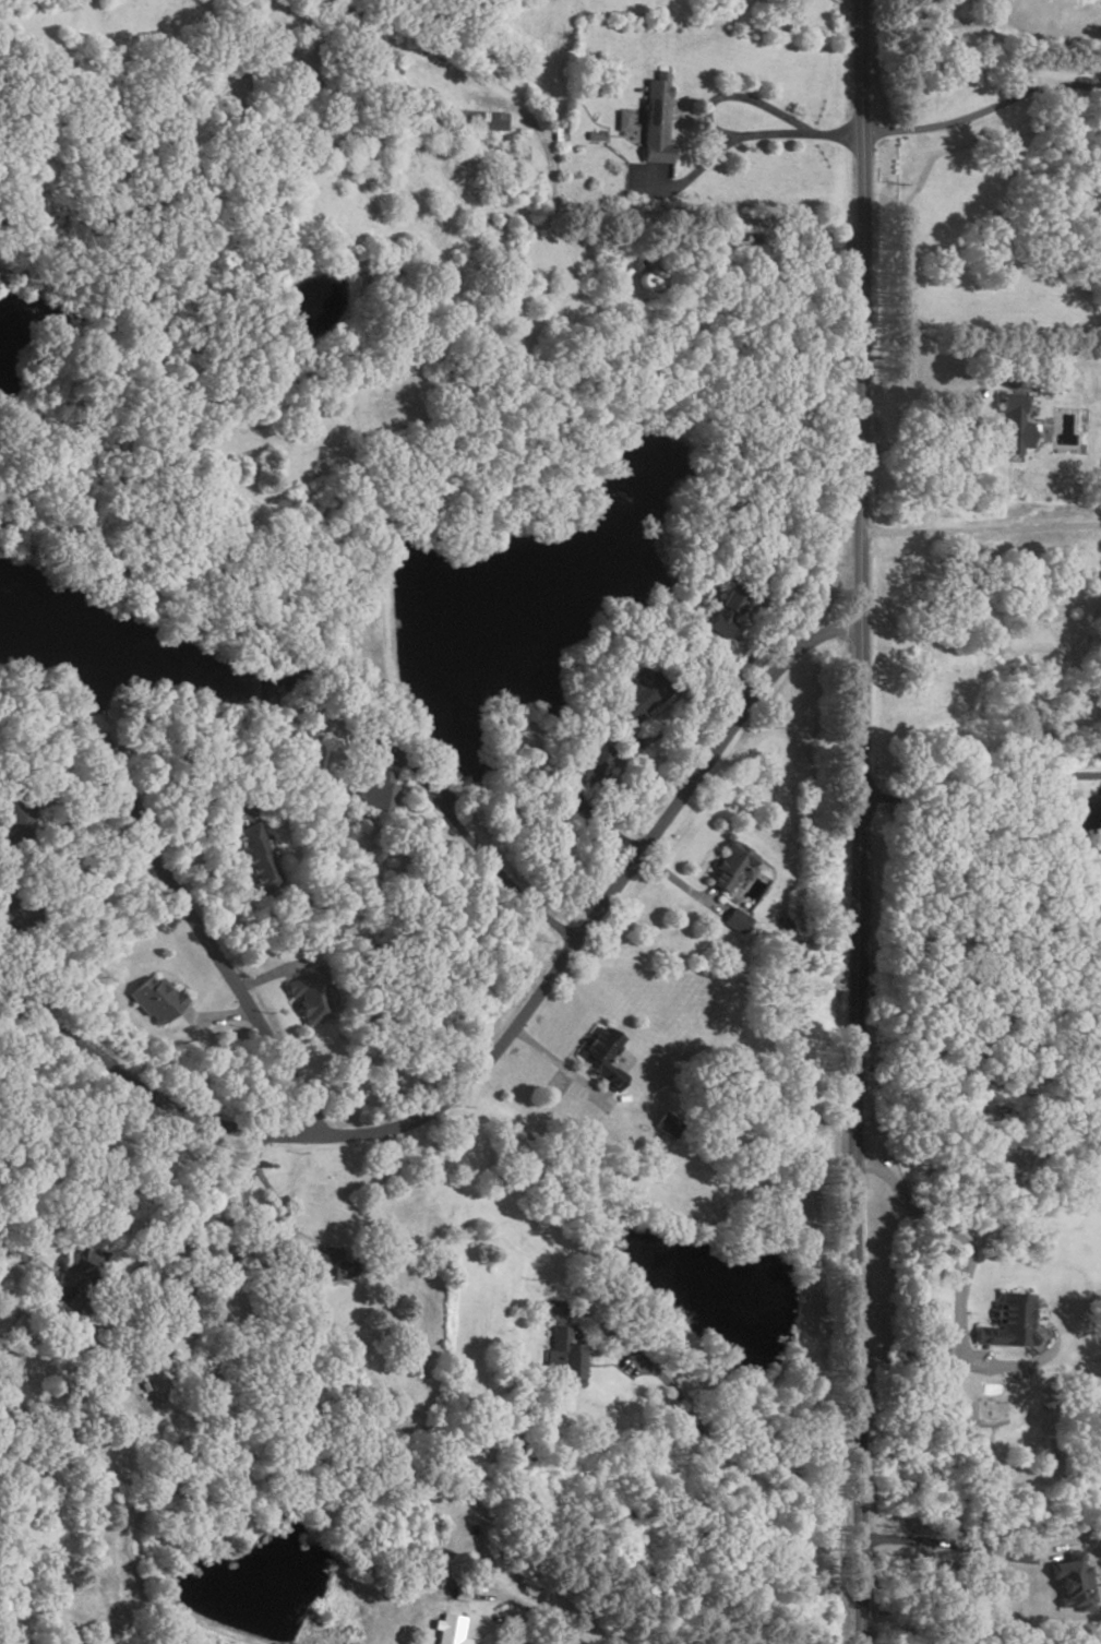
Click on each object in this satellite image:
building: (392, 69)
road: (734, 98)
road: (982, 112)
road: (685, 117)
road: (673, 118)
building: (470, 121)
building: (619, 123)
building: (650, 123)
building: (555, 135)
road: (738, 138)
building: (591, 139)
building: (516, 153)
building: (1010, 425)
road: (942, 438)
road: (981, 522)
building: (723, 612)
road: (751, 659)
building: (641, 695)
road: (671, 728)
building: (376, 734)
building: (589, 763)
building: (374, 795)
road: (71, 796)
road: (859, 822)
building: (22, 824)
road: (984, 843)
road: (484, 854)
building: (260, 858)
building: (729, 865)
road: (675, 882)
building: (21, 914)
building: (732, 921)
road: (208, 949)
road: (266, 976)
road: (283, 991)
building: (314, 994)
building: (160, 1000)
road: (218, 1016)
road: (499, 1045)
road: (570, 1050)
building: (597, 1056)
road: (557, 1064)
parking lot: (557, 1083)
building: (662, 1123)
road: (291, 1235)
road: (178, 1248)
road: (969, 1250)
road: (39, 1261)
building: (333, 1264)
building: (80, 1267)
road: (958, 1300)
road: (974, 1314)
building: (1006, 1323)
building: (563, 1360)
road: (608, 1366)
road: (714, 1445)
road: (948, 1542)
building: (1074, 1582)
building: (456, 1594)
road: (527, 1607)
building: (447, 1631)

